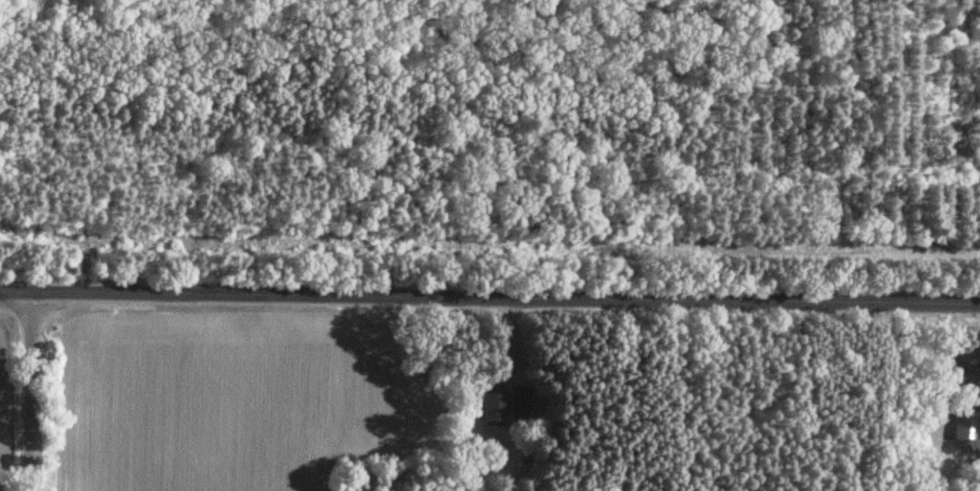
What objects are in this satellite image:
road: (489, 296)
building: (965, 374)
road: (36, 391)
building: (495, 408)
building: (968, 424)

